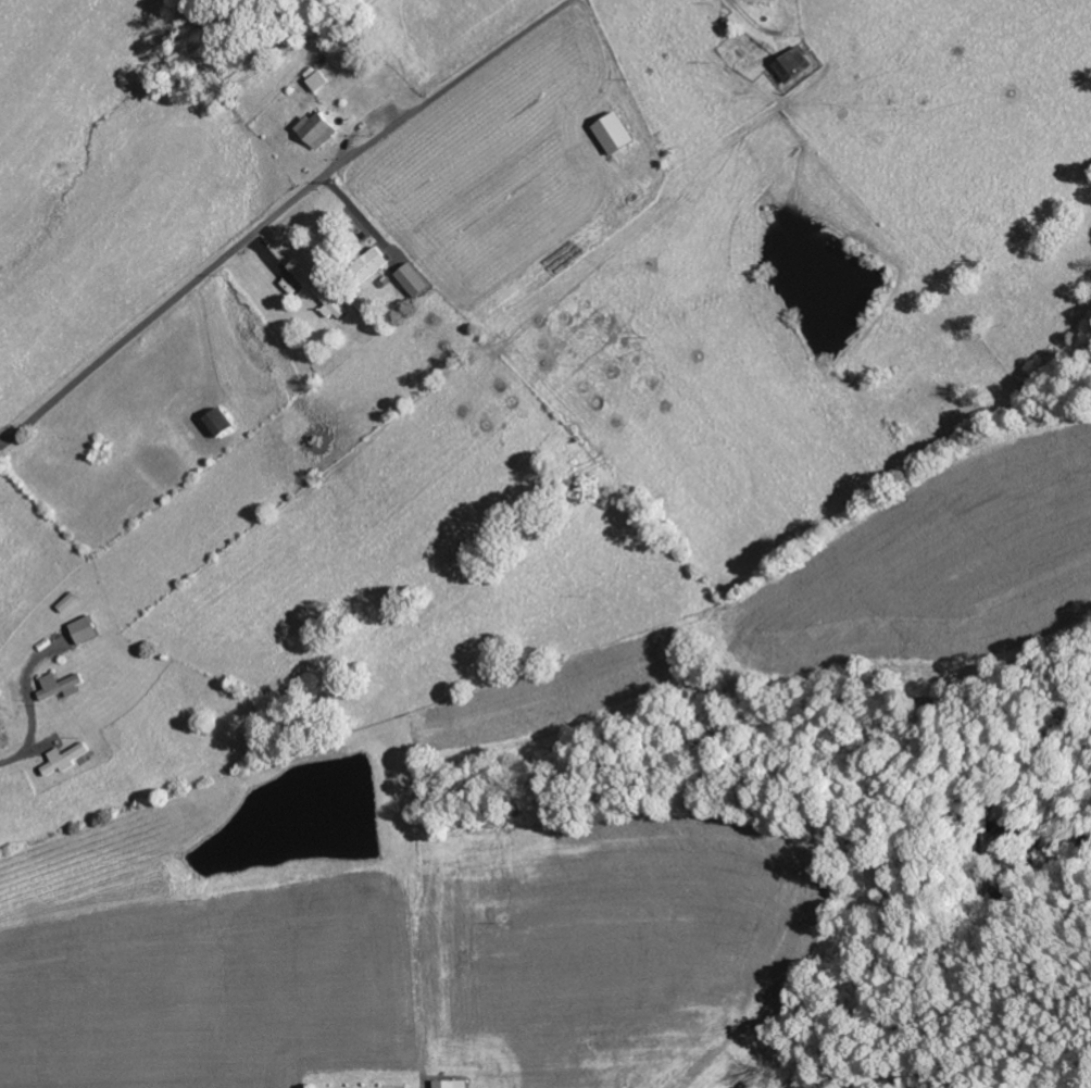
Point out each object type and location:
building: (794, 65)
building: (318, 80)
building: (318, 129)
building: (617, 134)
road: (278, 213)
building: (374, 264)
building: (304, 268)
building: (415, 280)
building: (330, 301)
building: (86, 631)
building: (450, 1085)

